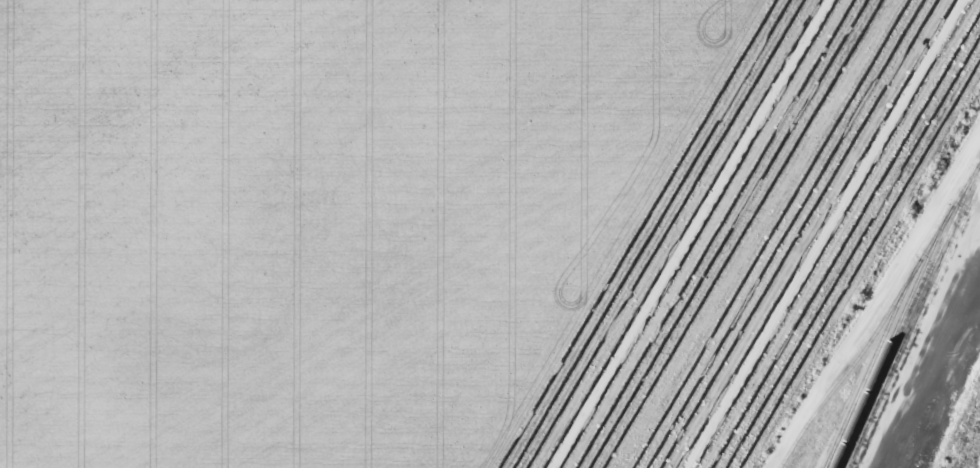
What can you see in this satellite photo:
railway: (876, 311)
railway: (908, 312)
railway: (913, 321)
railway: (960, 424)
railway: (973, 452)

